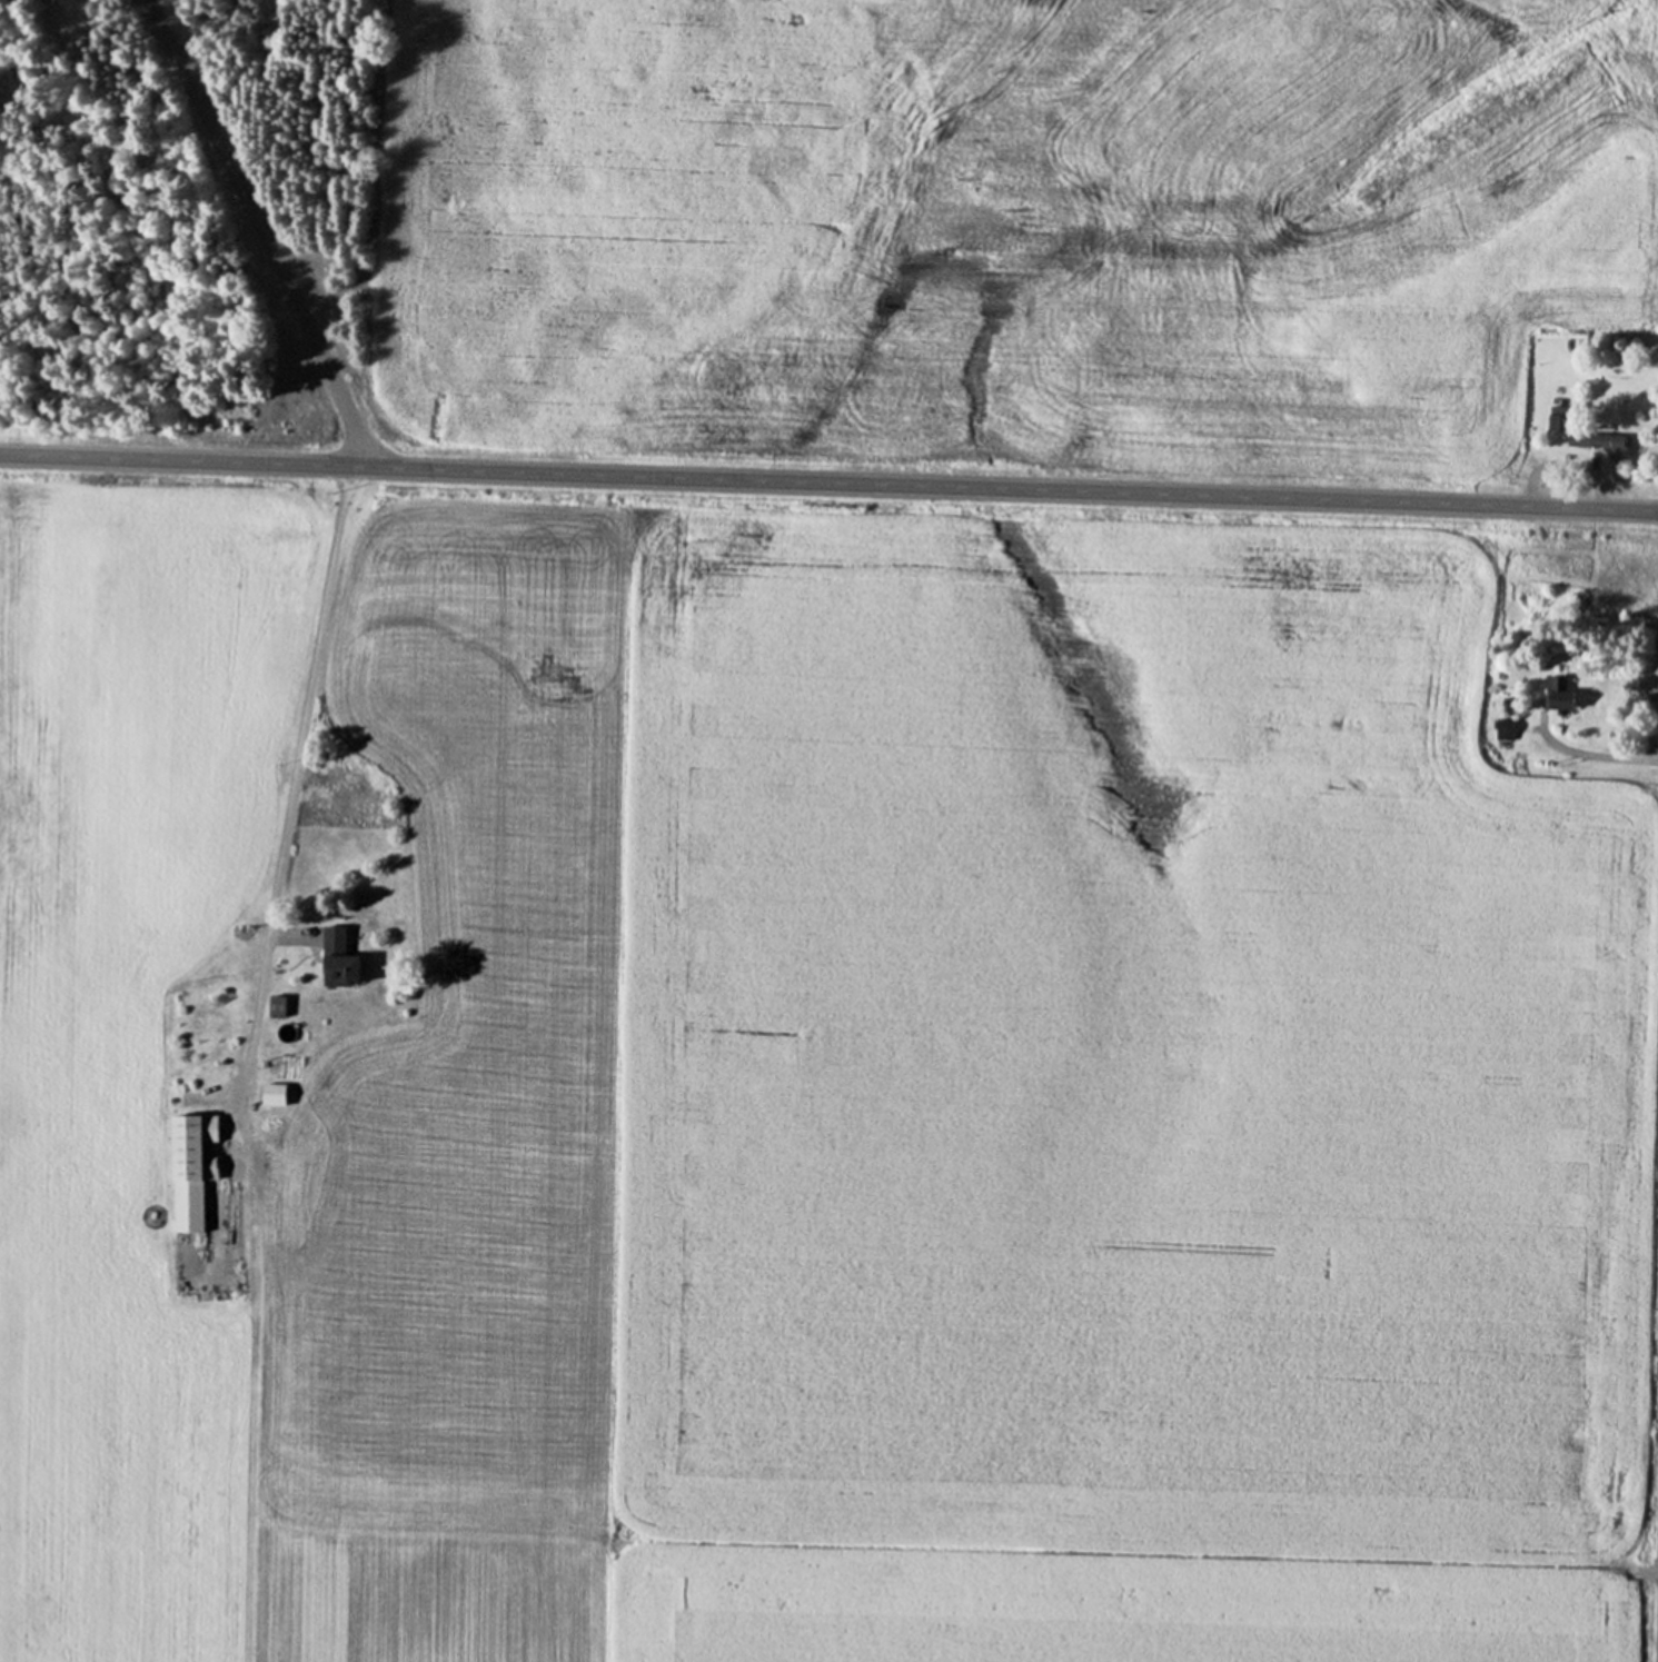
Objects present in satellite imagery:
road: (261, 231)
building: (1579, 432)
road: (828, 480)
building: (1556, 698)
road: (1614, 756)
road: (296, 775)
building: (334, 957)
building: (271, 1091)
building: (190, 1167)

